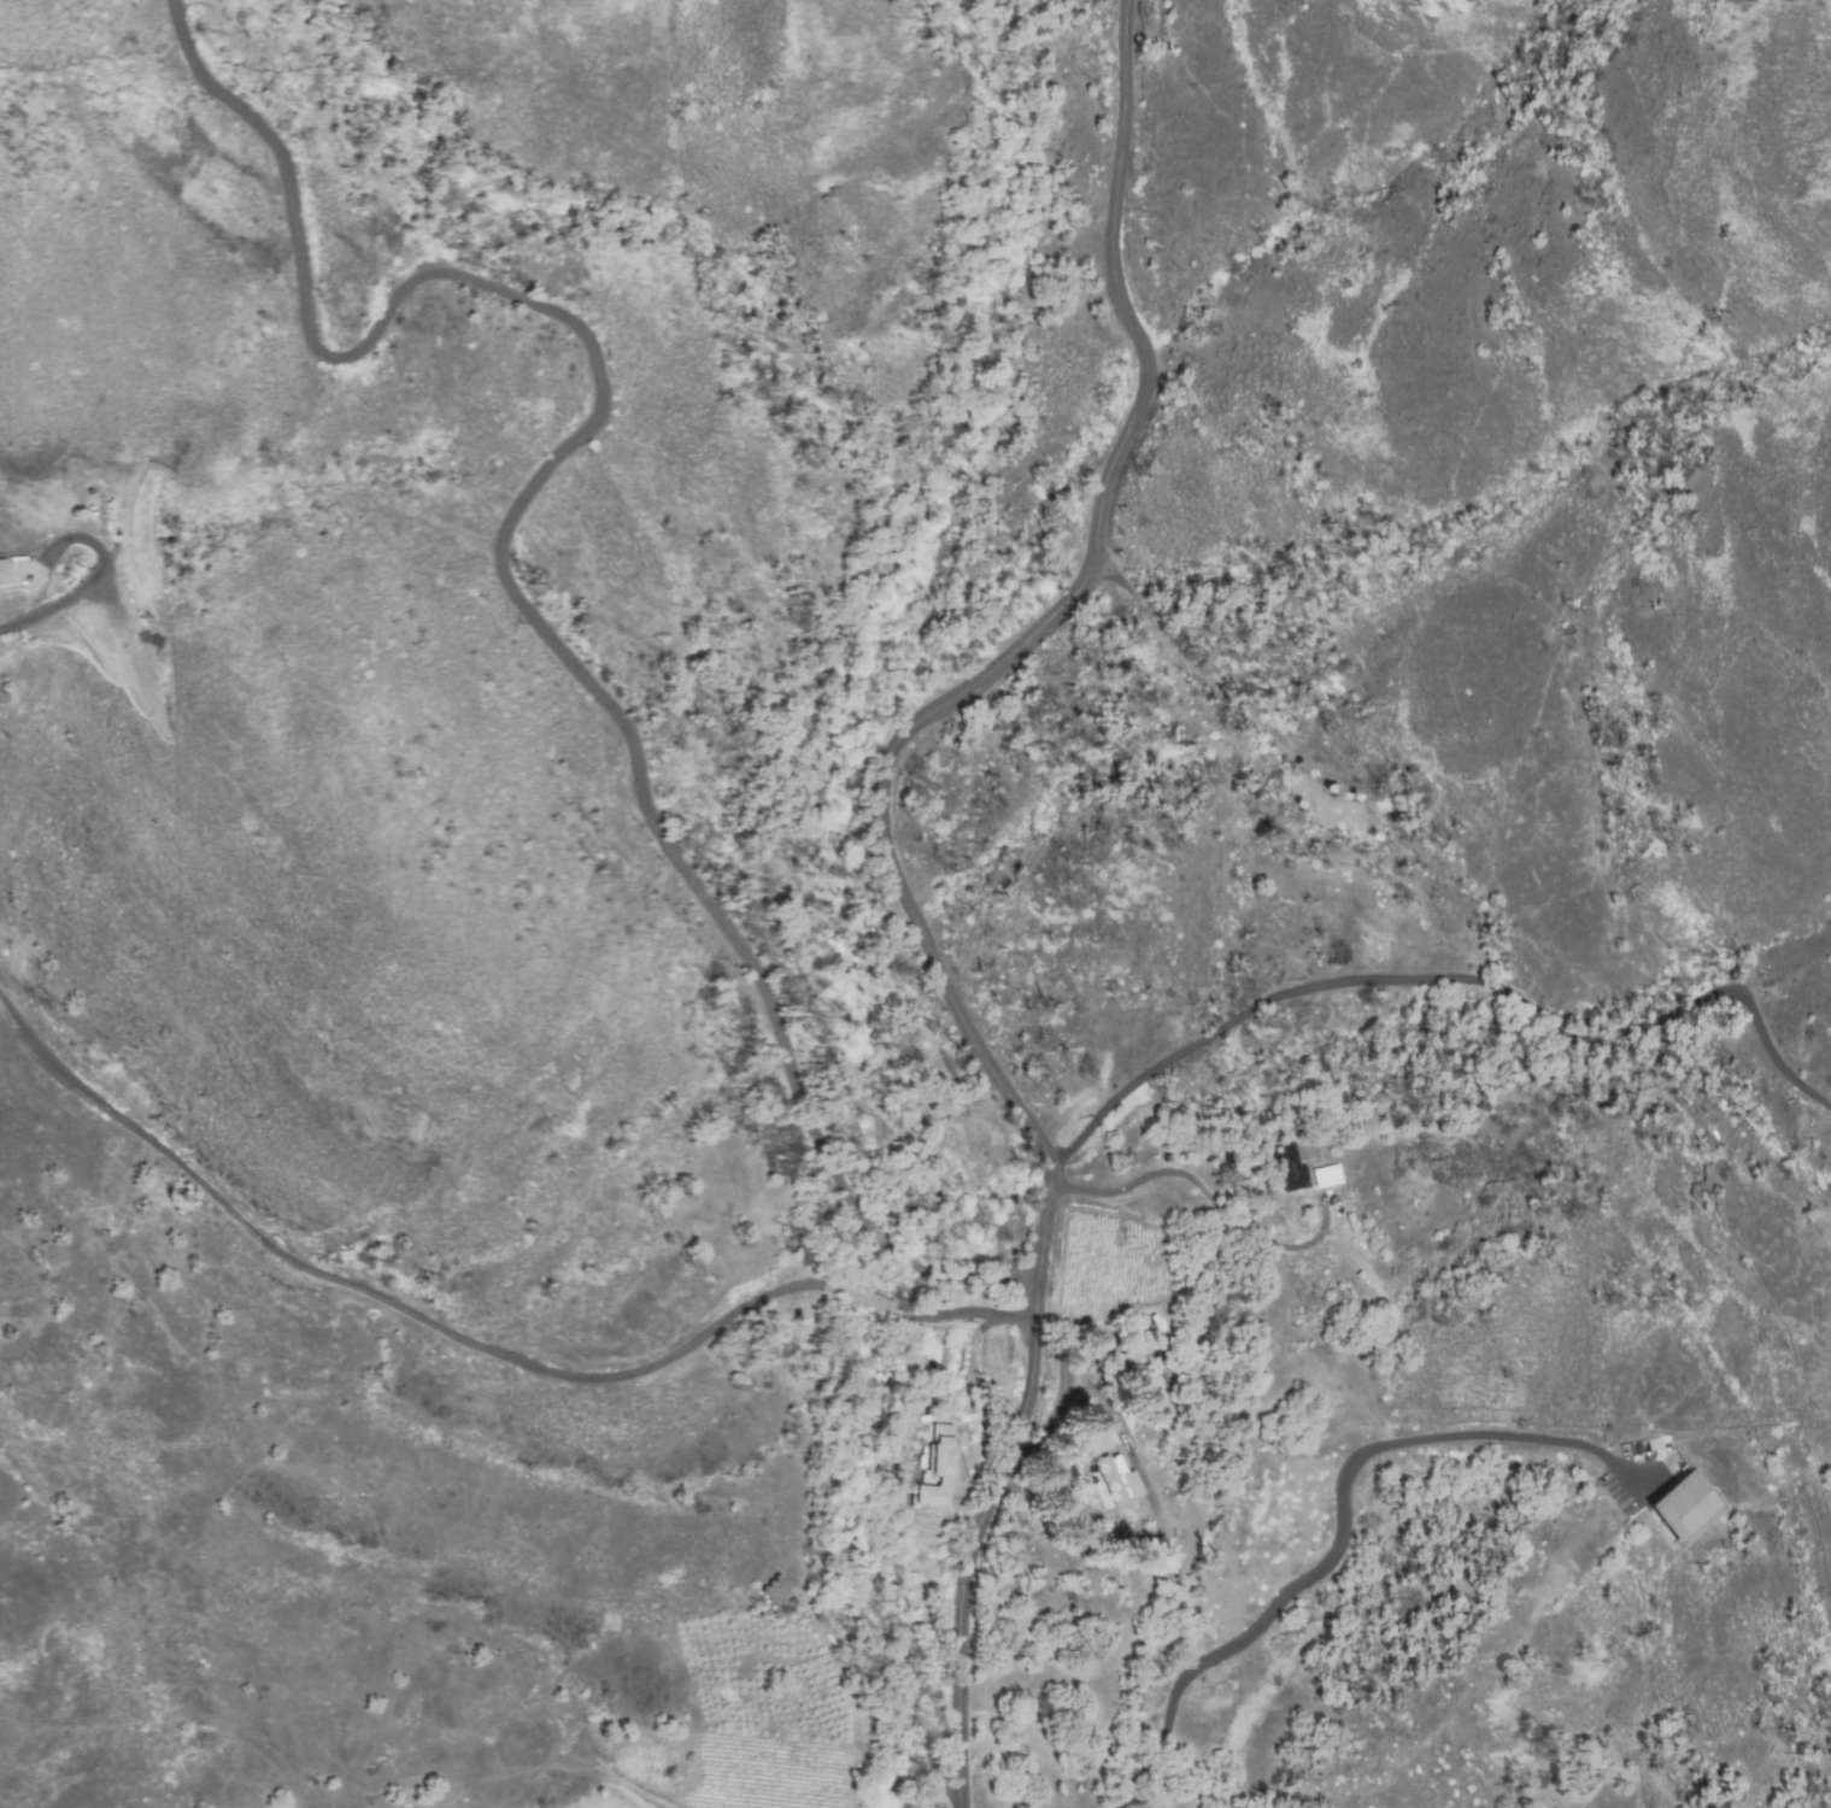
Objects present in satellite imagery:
road: (501, 548)
road: (92, 577)
road: (894, 879)
road: (1455, 978)
building: (1287, 1169)
building: (1325, 1176)
road: (1199, 1186)
road: (474, 1346)
building: (1088, 1414)
building: (1657, 1443)
building: (934, 1469)
building: (1683, 1508)
road: (1344, 1527)

